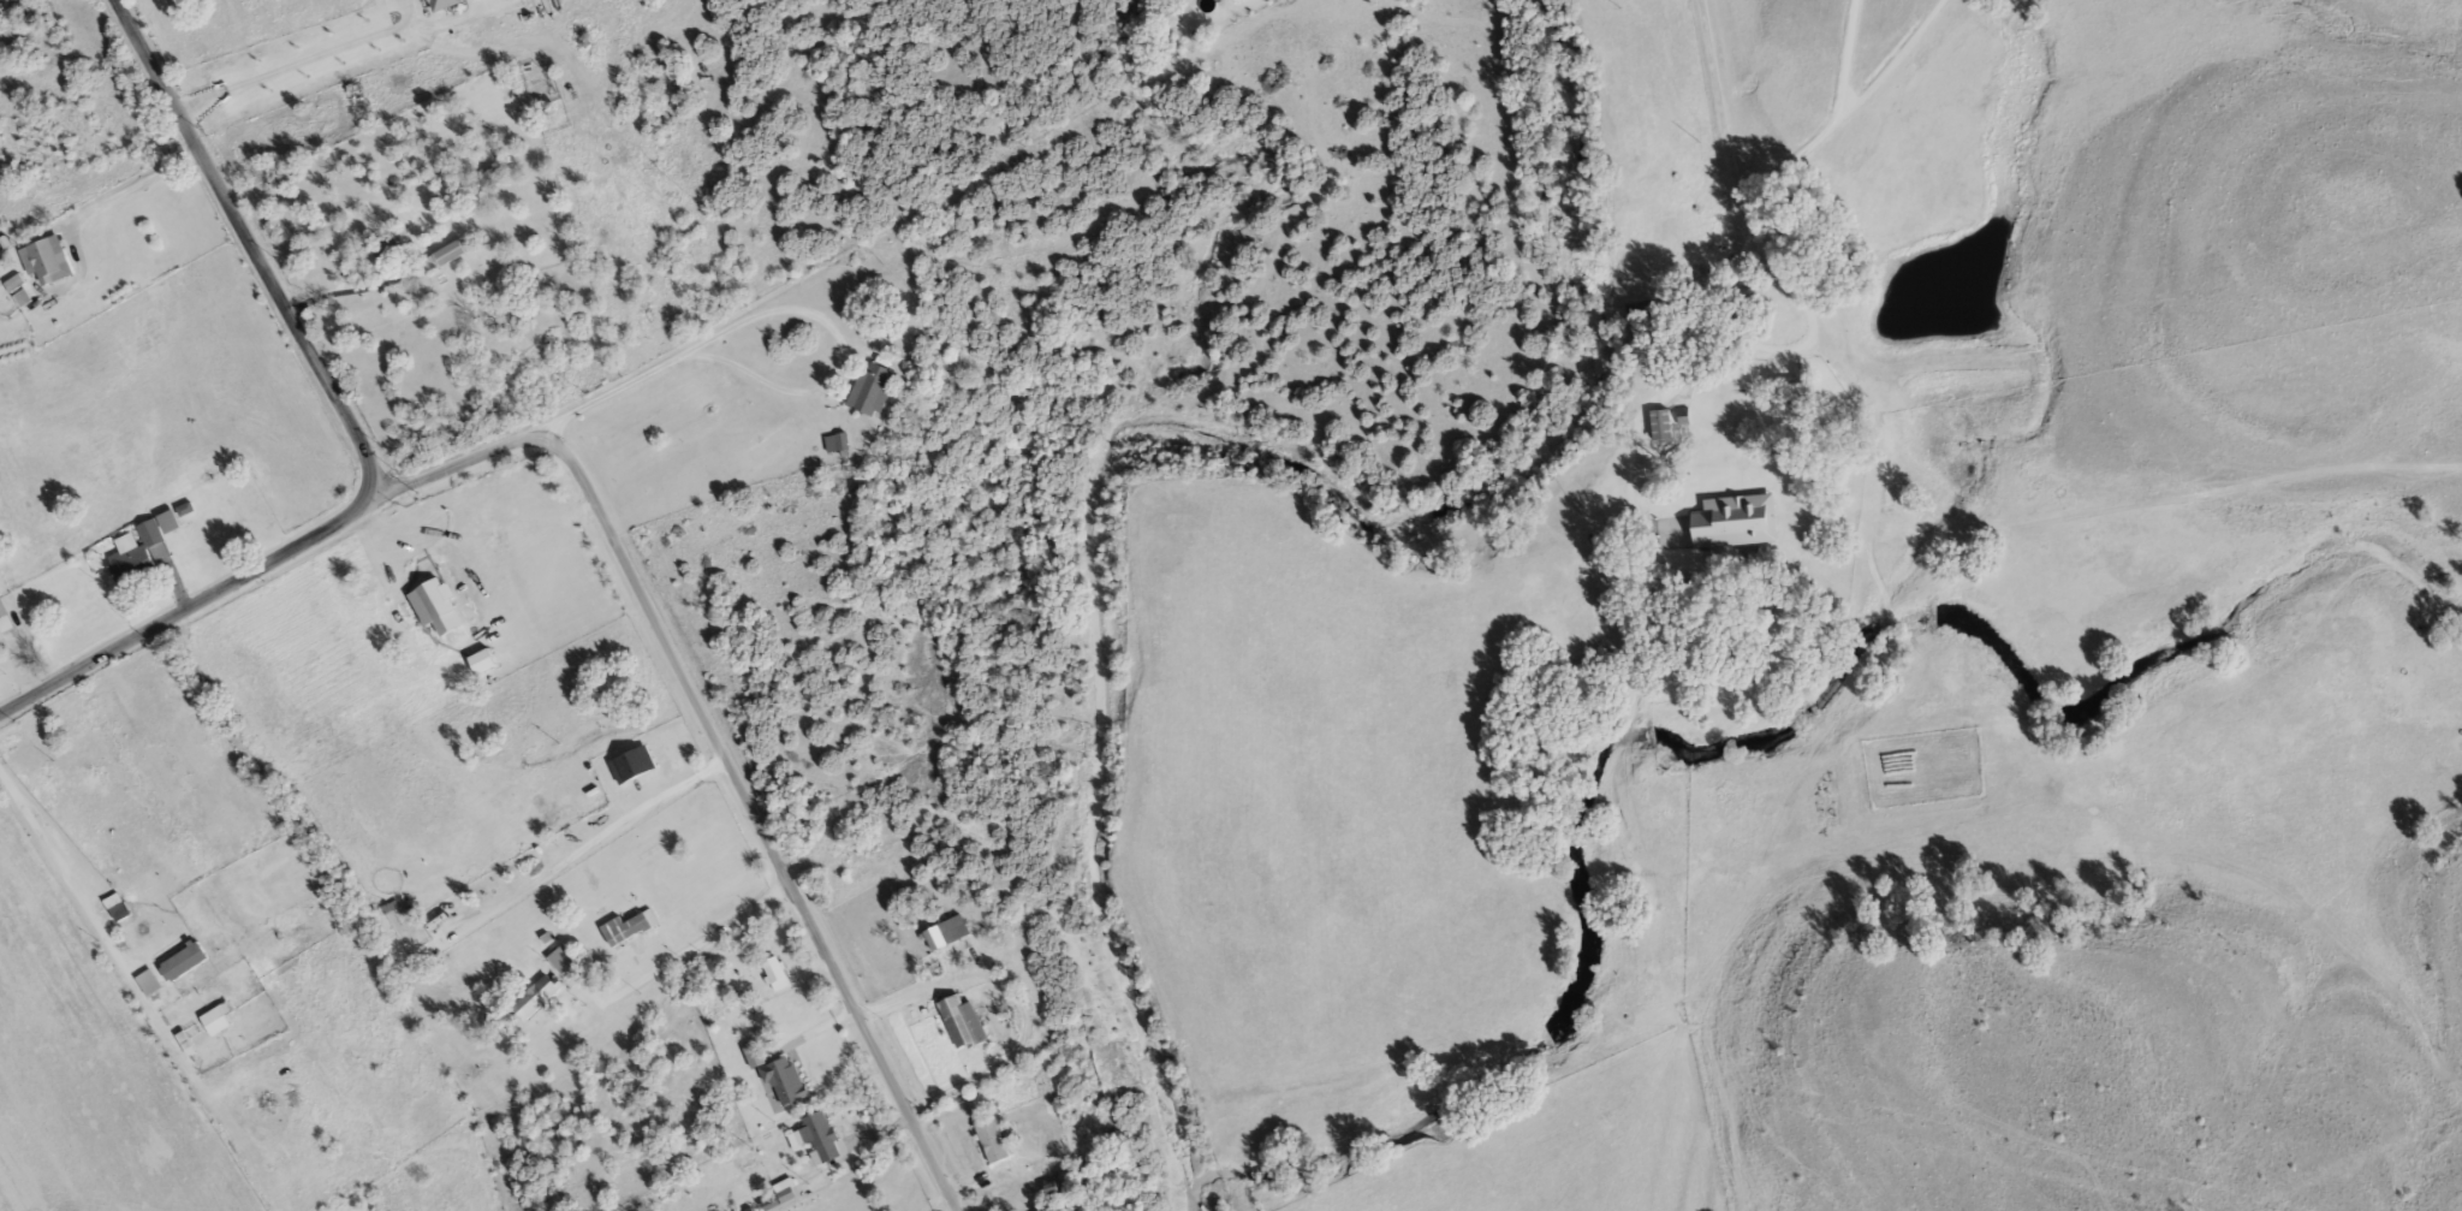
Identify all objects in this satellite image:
road: (1895, 59)
road: (290, 71)
road: (1717, 105)
road: (1832, 120)
road: (132, 189)
road: (251, 248)
building: (393, 251)
building: (50, 263)
road: (357, 295)
road: (815, 315)
building: (1645, 315)
road: (1782, 343)
building: (1802, 387)
road: (611, 390)
building: (875, 390)
building: (1665, 427)
building: (1740, 523)
building: (172, 524)
building: (142, 554)
road: (178, 592)
road: (195, 605)
building: (6, 618)
road: (20, 670)
road: (722, 743)
building: (874, 868)
building: (120, 910)
building: (631, 931)
road: (106, 934)
building: (950, 937)
road: (697, 939)
building: (186, 966)
building: (777, 973)
road: (905, 987)
building: (540, 999)
building: (221, 1023)
building: (965, 1026)
road: (981, 1073)
building: (790, 1084)
building: (823, 1138)
building: (1000, 1150)
road: (991, 1191)

